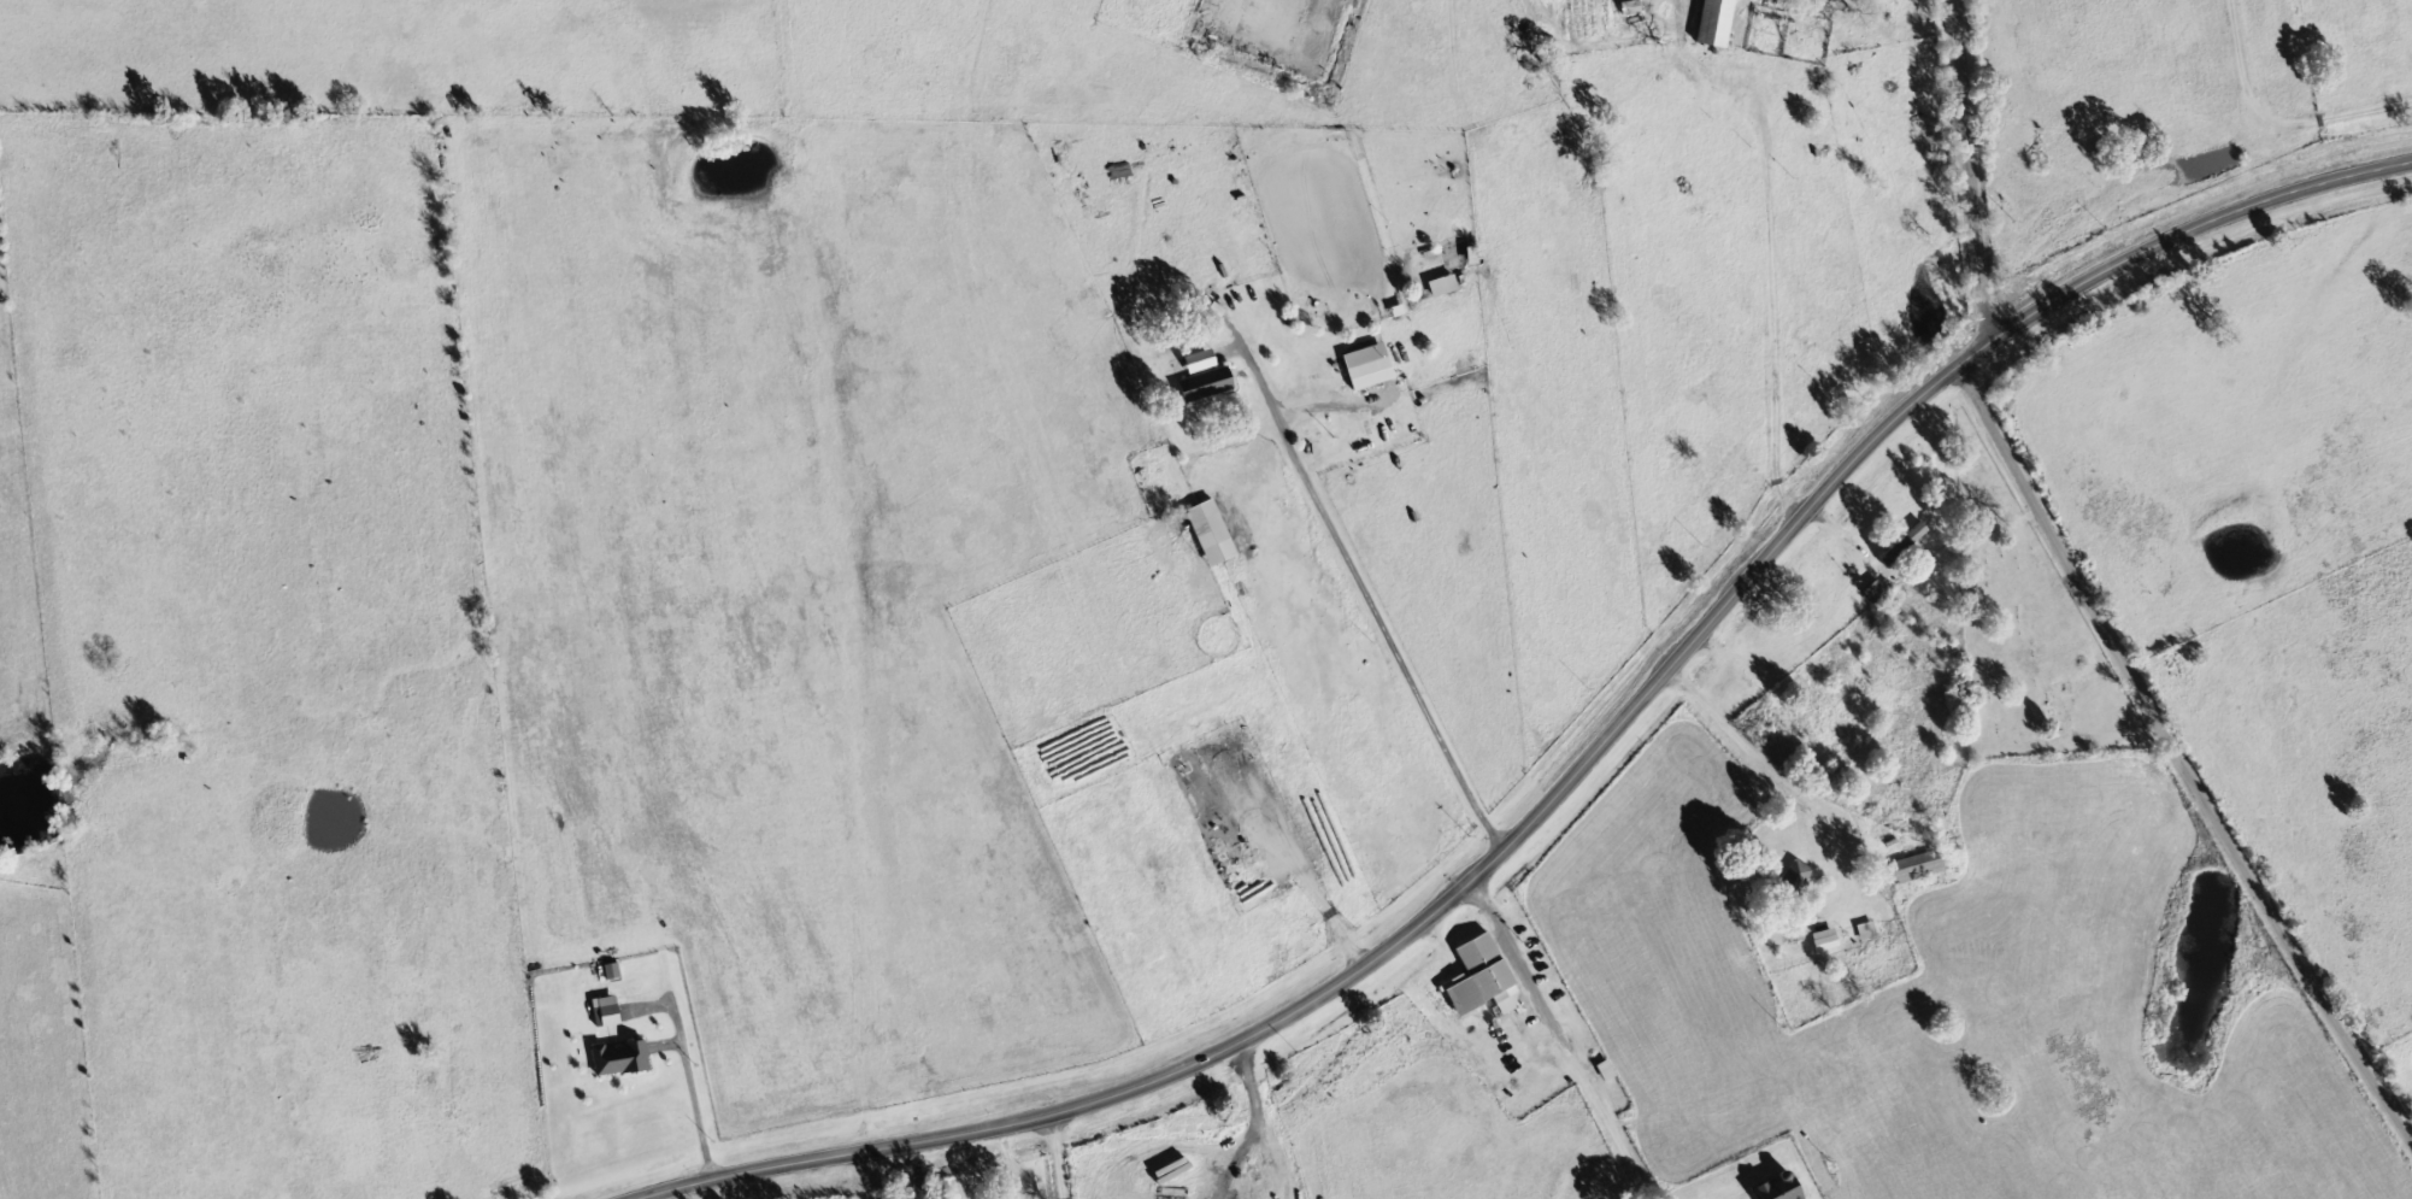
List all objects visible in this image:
building: (1635, 8)
building: (1720, 23)
road: (1787, 259)
building: (1448, 287)
building: (1373, 368)
building: (1210, 378)
building: (1216, 534)
building: (1907, 545)
road: (2098, 592)
building: (1879, 594)
road: (1576, 771)
building: (1922, 868)
building: (1798, 881)
road: (1855, 912)
building: (1829, 941)
building: (1487, 981)
building: (611, 1015)
building: (625, 1060)
road: (1077, 1157)
building: (1783, 1191)

